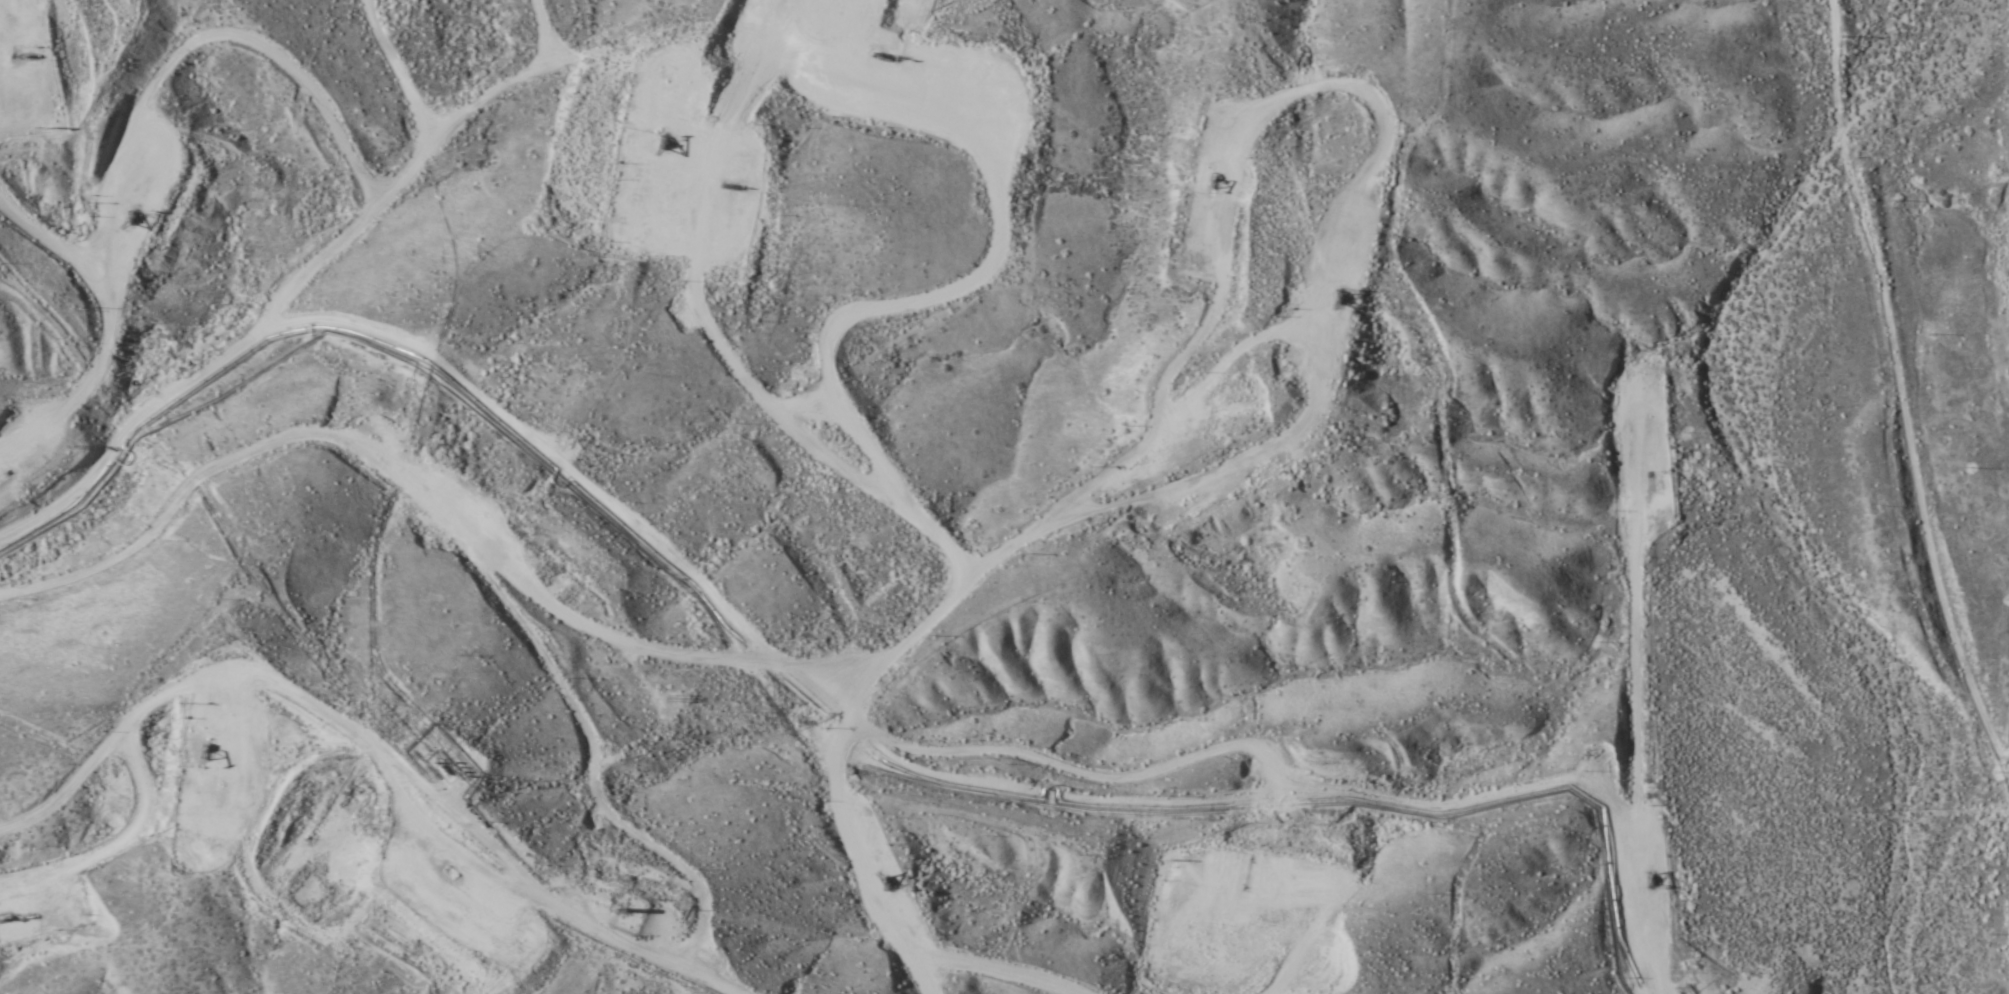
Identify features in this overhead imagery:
road: (1840, 139)
road: (270, 211)
road: (761, 464)
road: (1928, 529)
road: (252, 816)
road: (1554, 858)

